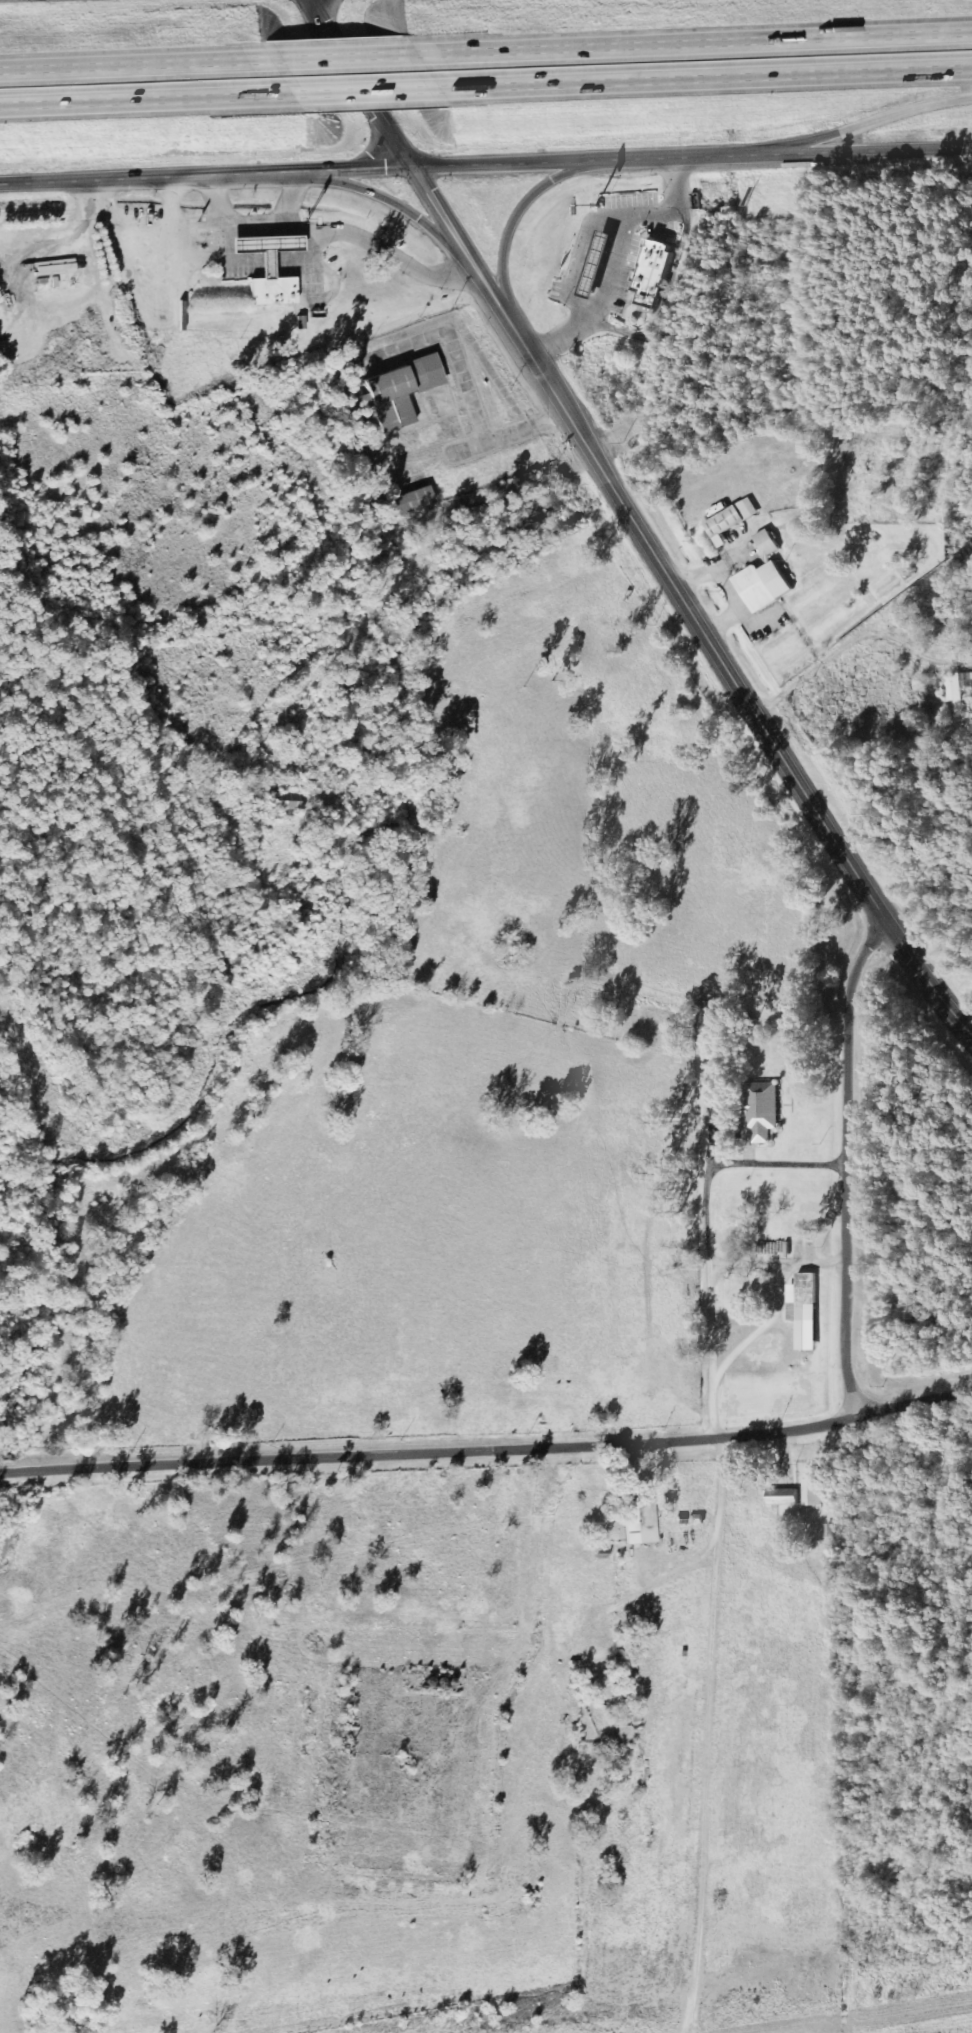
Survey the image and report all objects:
road: (319, 18)
road: (693, 45)
road: (344, 57)
road: (137, 65)
road: (353, 75)
road: (703, 75)
road: (366, 88)
road: (149, 98)
road: (849, 127)
road: (395, 139)
road: (849, 151)
road: (570, 160)
road: (206, 174)
road: (371, 191)
road: (296, 193)
road: (171, 202)
road: (438, 208)
road: (514, 215)
road: (334, 224)
road: (145, 230)
building: (267, 246)
gas station: (267, 246)
building: (600, 262)
gas station: (600, 262)
road: (622, 264)
building: (55, 265)
building: (654, 271)
building: (272, 288)
road: (491, 296)
road: (451, 343)
building: (399, 390)
road: (503, 429)
building: (411, 498)
building: (731, 518)
building: (766, 541)
road: (398, 571)
building: (763, 584)
road: (843, 645)
road: (740, 691)
building: (287, 799)
building: (762, 1109)
road: (848, 1160)
road: (776, 1164)
road: (702, 1224)
road: (775, 1264)
building: (803, 1309)
road: (757, 1331)
road: (488, 1447)
building: (811, 1488)
road: (719, 1489)
building: (782, 1495)

